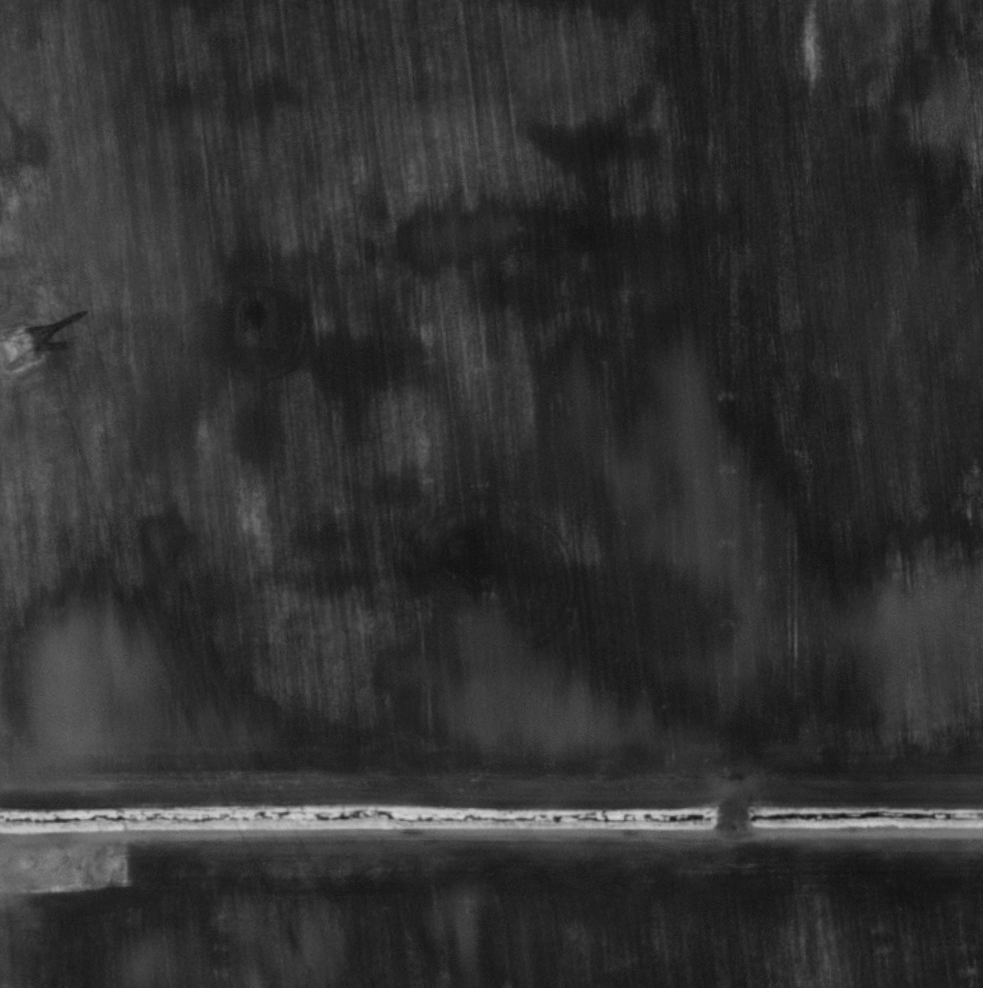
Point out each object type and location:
power tower: (19, 350)

